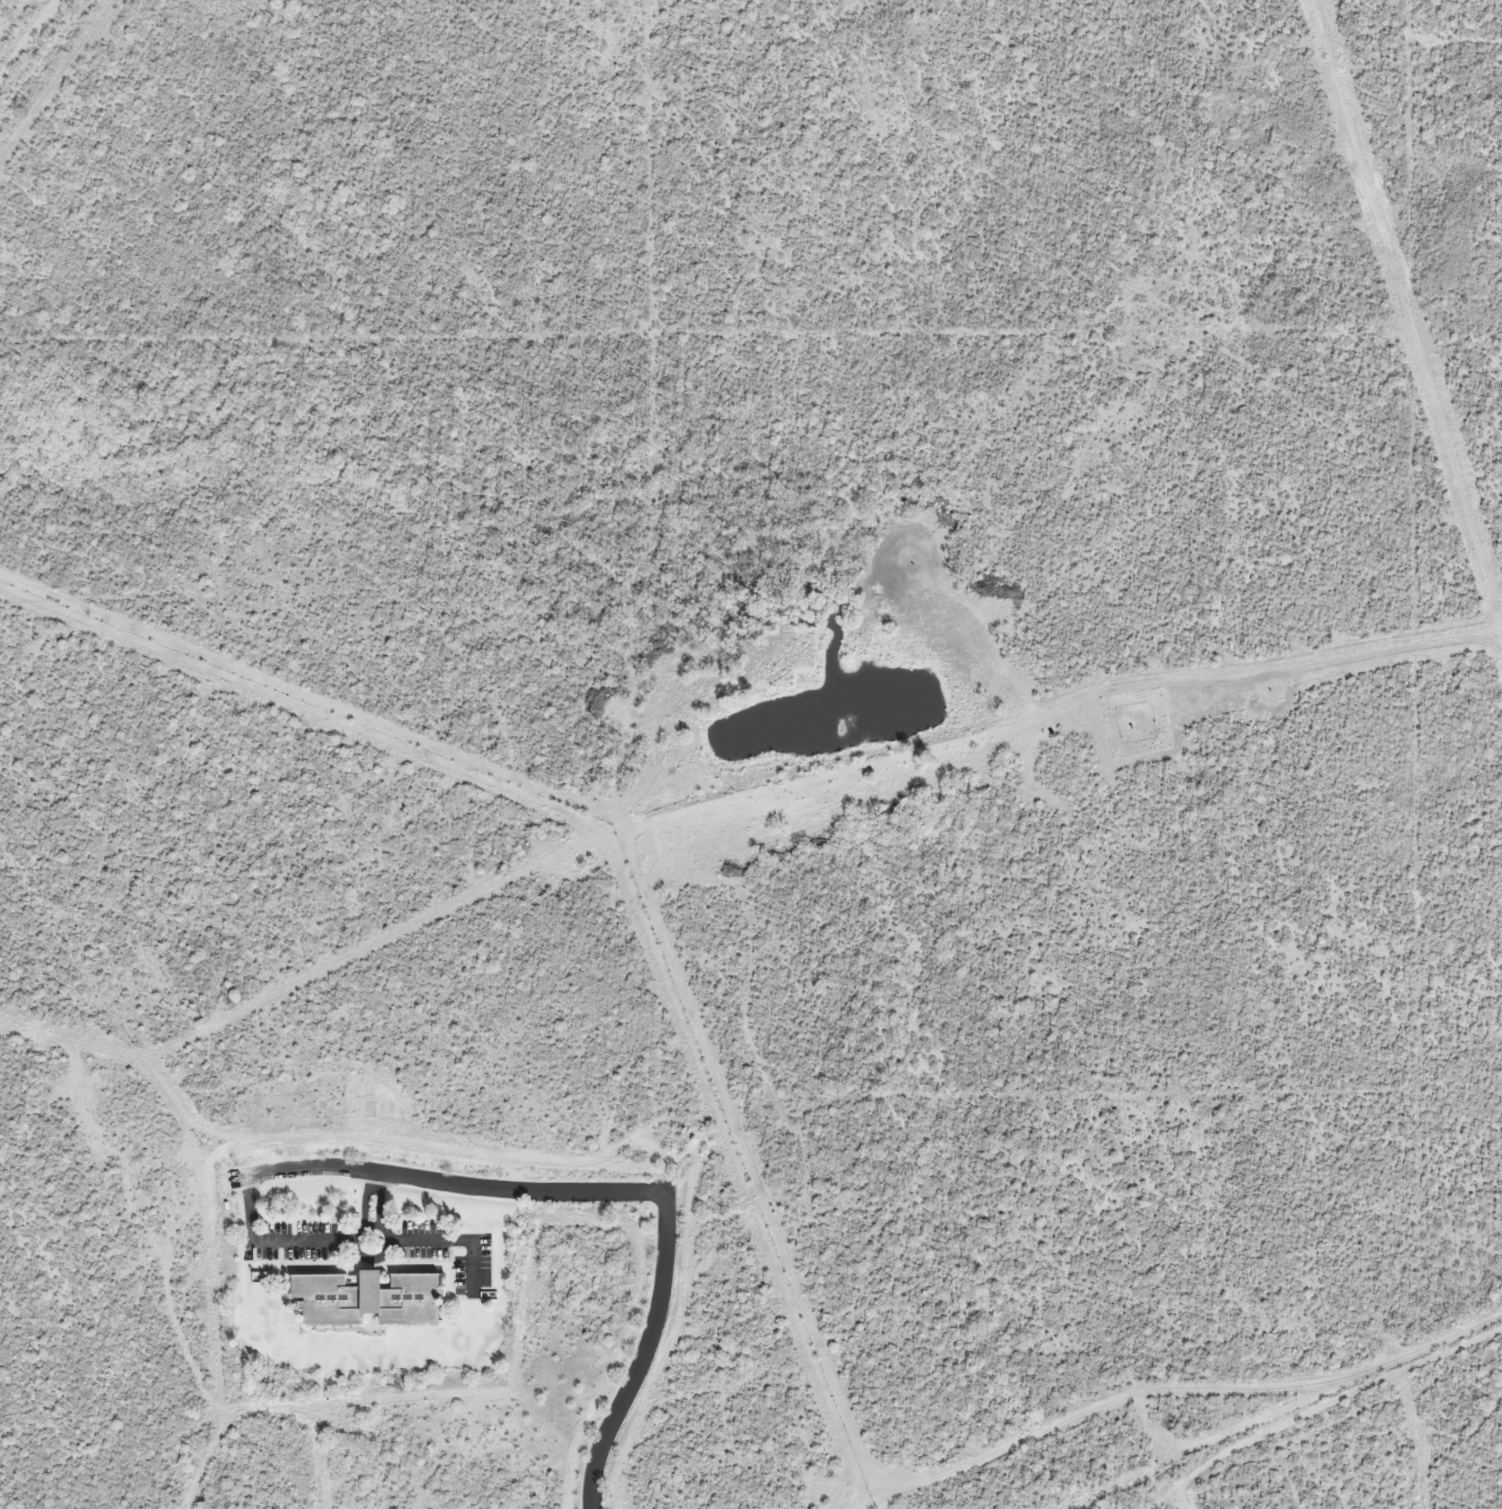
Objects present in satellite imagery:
road: (58, 83)
road: (538, 1194)
road: (364, 1199)
road: (379, 1200)
road: (353, 1234)
road: (456, 1241)
building: (368, 1300)

